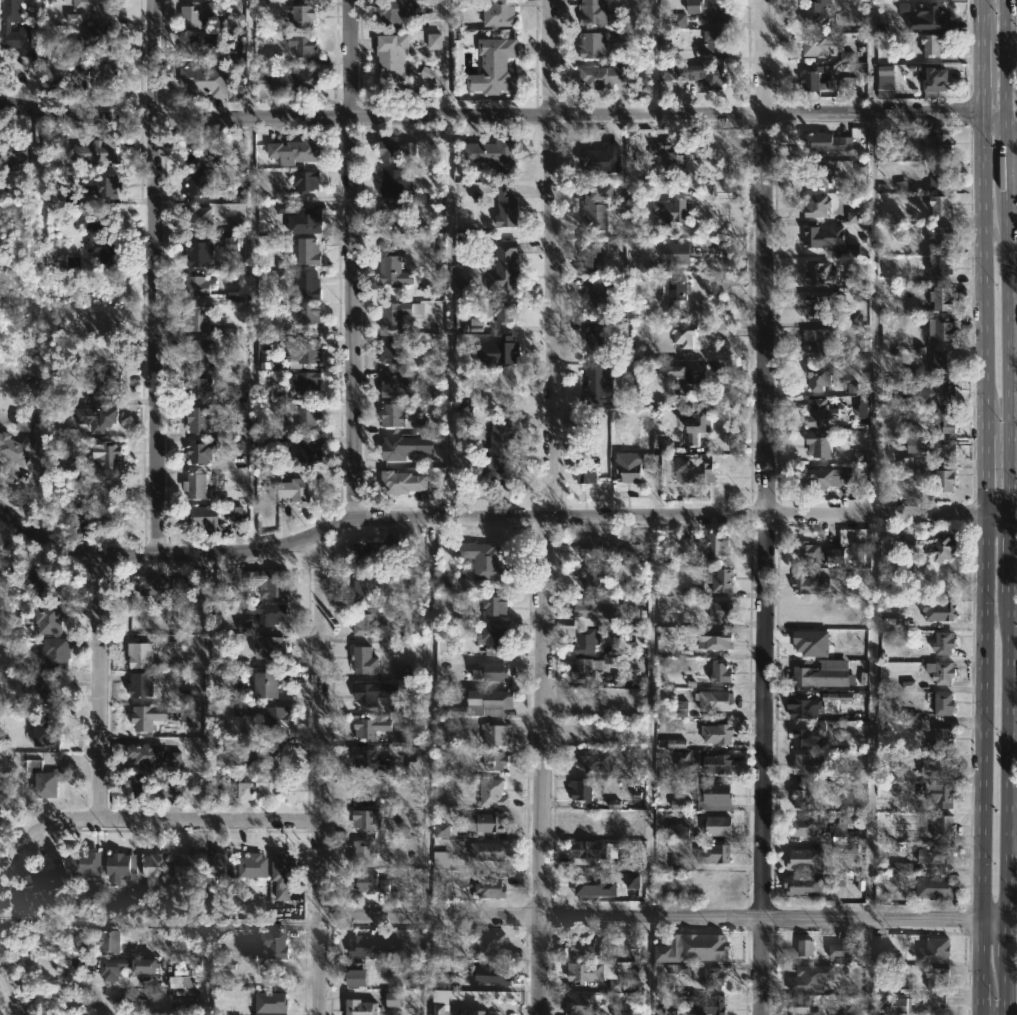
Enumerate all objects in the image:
building: (93, 7)
building: (707, 10)
building: (392, 11)
building: (593, 12)
building: (498, 13)
building: (813, 14)
building: (188, 15)
building: (302, 17)
building: (924, 17)
building: (679, 20)
building: (16, 30)
building: (96, 36)
building: (434, 41)
building: (716, 42)
building: (930, 44)
building: (814, 45)
building: (592, 46)
building: (198, 47)
building: (306, 47)
building: (276, 56)
road: (869, 57)
road: (249, 58)
road: (448, 58)
road: (653, 58)
building: (392, 62)
building: (493, 66)
building: (94, 71)
building: (667, 72)
building: (602, 74)
building: (707, 74)
building: (291, 78)
building: (201, 79)
building: (814, 81)
building: (932, 82)
building: (883, 86)
road: (1011, 110)
road: (992, 111)
road: (871, 115)
road: (380, 116)
building: (830, 141)
building: (936, 141)
building: (392, 148)
building: (292, 150)
building: (493, 151)
building: (12, 152)
building: (93, 152)
building: (669, 152)
building: (600, 158)
building: (818, 176)
building: (938, 177)
building: (303, 180)
building: (196, 181)
building: (394, 181)
building: (101, 186)
building: (237, 195)
building: (940, 203)
building: (504, 205)
building: (815, 205)
building: (596, 206)
building: (667, 210)
building: (389, 211)
building: (197, 216)
building: (853, 217)
building: (300, 218)
building: (937, 236)
building: (827, 241)
building: (98, 244)
building: (232, 244)
building: (198, 249)
building: (306, 250)
building: (675, 252)
building: (590, 254)
road: (353, 261)
building: (75, 262)
building: (502, 266)
building: (938, 266)
building: (390, 267)
building: (815, 272)
road: (157, 278)
building: (307, 284)
building: (196, 285)
building: (461, 286)
building: (676, 290)
building: (595, 291)
building: (942, 297)
building: (820, 304)
building: (503, 310)
building: (308, 315)
building: (388, 315)
road: (873, 315)
building: (198, 316)
road: (451, 318)
building: (940, 328)
road: (252, 334)
building: (683, 334)
building: (593, 337)
building: (816, 343)
building: (302, 349)
building: (389, 349)
building: (497, 351)
building: (197, 352)
building: (941, 361)
building: (818, 377)
building: (683, 379)
building: (304, 382)
building: (394, 382)
building: (597, 384)
building: (107, 386)
building: (195, 387)
building: (852, 388)
building: (929, 393)
building: (70, 397)
building: (862, 407)
building: (818, 412)
building: (390, 414)
building: (98, 417)
building: (196, 417)
building: (591, 417)
building: (306, 418)
building: (943, 420)
building: (694, 421)
building: (422, 426)
building: (645, 428)
building: (231, 430)
building: (915, 440)
building: (816, 445)
building: (397, 446)
building: (497, 447)
building: (666, 447)
building: (15, 448)
building: (943, 449)
building: (197, 451)
building: (310, 452)
building: (111, 454)
building: (69, 464)
building: (628, 465)
building: (584, 466)
building: (692, 469)
building: (828, 477)
building: (402, 480)
building: (944, 480)
building: (194, 484)
road: (38, 485)
building: (294, 489)
road: (554, 507)
road: (761, 507)
road: (983, 507)
road: (1008, 507)
road: (995, 512)
road: (1012, 512)
building: (87, 513)
building: (235, 514)
building: (206, 517)
road: (483, 519)
building: (690, 542)
building: (715, 543)
building: (941, 546)
building: (594, 547)
building: (906, 548)
building: (632, 549)
building: (857, 550)
building: (818, 552)
building: (363, 553)
building: (482, 559)
building: (592, 576)
building: (190, 580)
building: (721, 580)
building: (267, 582)
building: (40, 583)
building: (146, 583)
building: (810, 583)
building: (364, 587)
building: (491, 604)
building: (596, 609)
building: (719, 609)
building: (937, 610)
building: (269, 612)
building: (806, 615)
building: (46, 616)
building: (365, 622)
building: (892, 624)
building: (245, 626)
building: (714, 639)
building: (583, 640)
building: (943, 642)
building: (269, 648)
building: (53, 651)
building: (138, 655)
building: (488, 657)
building: (363, 660)
building: (580, 669)
building: (718, 671)
building: (404, 672)
building: (943, 672)
building: (818, 674)
building: (619, 679)
building: (40, 680)
building: (141, 684)
building: (265, 684)
road: (103, 688)
building: (363, 693)
building: (837, 696)
building: (713, 700)
building: (480, 702)
building: (943, 703)
building: (801, 707)
building: (681, 708)
building: (149, 716)
building: (275, 717)
building: (368, 726)
building: (42, 729)
building: (715, 733)
building: (493, 734)
building: (806, 736)
building: (940, 739)
building: (263, 751)
building: (150, 756)
building: (593, 759)
building: (370, 760)
building: (493, 760)
building: (718, 763)
building: (806, 763)
building: (935, 766)
building: (858, 774)
building: (900, 774)
road: (319, 775)
building: (41, 779)
building: (150, 784)
building: (262, 786)
building: (580, 789)
building: (491, 793)
building: (941, 795)
building: (714, 796)
building: (798, 796)
road: (175, 819)
building: (368, 819)
building: (849, 820)
building: (488, 822)
building: (715, 826)
building: (803, 826)
building: (940, 826)
building: (442, 830)
building: (679, 832)
building: (839, 832)
road: (14, 846)
building: (590, 849)
building: (489, 851)
building: (361, 853)
building: (713, 854)
building: (933, 854)
building: (801, 858)
building: (441, 859)
building: (219, 863)
building: (625, 863)
building: (86, 864)
building: (186, 866)
building: (251, 866)
building: (903, 867)
building: (115, 868)
building: (279, 875)
building: (50, 877)
building: (840, 879)
building: (152, 880)
building: (632, 880)
building: (368, 883)
building: (593, 884)
building: (804, 886)
building: (930, 887)
building: (488, 889)
road: (662, 919)
road: (224, 926)
building: (632, 940)
building: (110, 942)
building: (272, 943)
building: (368, 945)
building: (489, 946)
building: (585, 946)
building: (805, 947)
building: (694, 948)
building: (842, 948)
building: (935, 951)
building: (147, 966)
building: (115, 967)
building: (683, 969)
building: (228, 970)
building: (491, 972)
building: (587, 972)
building: (352, 974)
building: (934, 977)
building: (712, 978)
building: (810, 978)
building: (182, 982)
road: (58, 983)
building: (625, 985)
road: (13, 987)
building: (394, 999)
building: (582, 1003)
building: (704, 1003)
building: (271, 1004)
building: (361, 1005)
building: (899, 1005)
building: (799, 1006)
building: (438, 1008)
building: (481, 1013)

